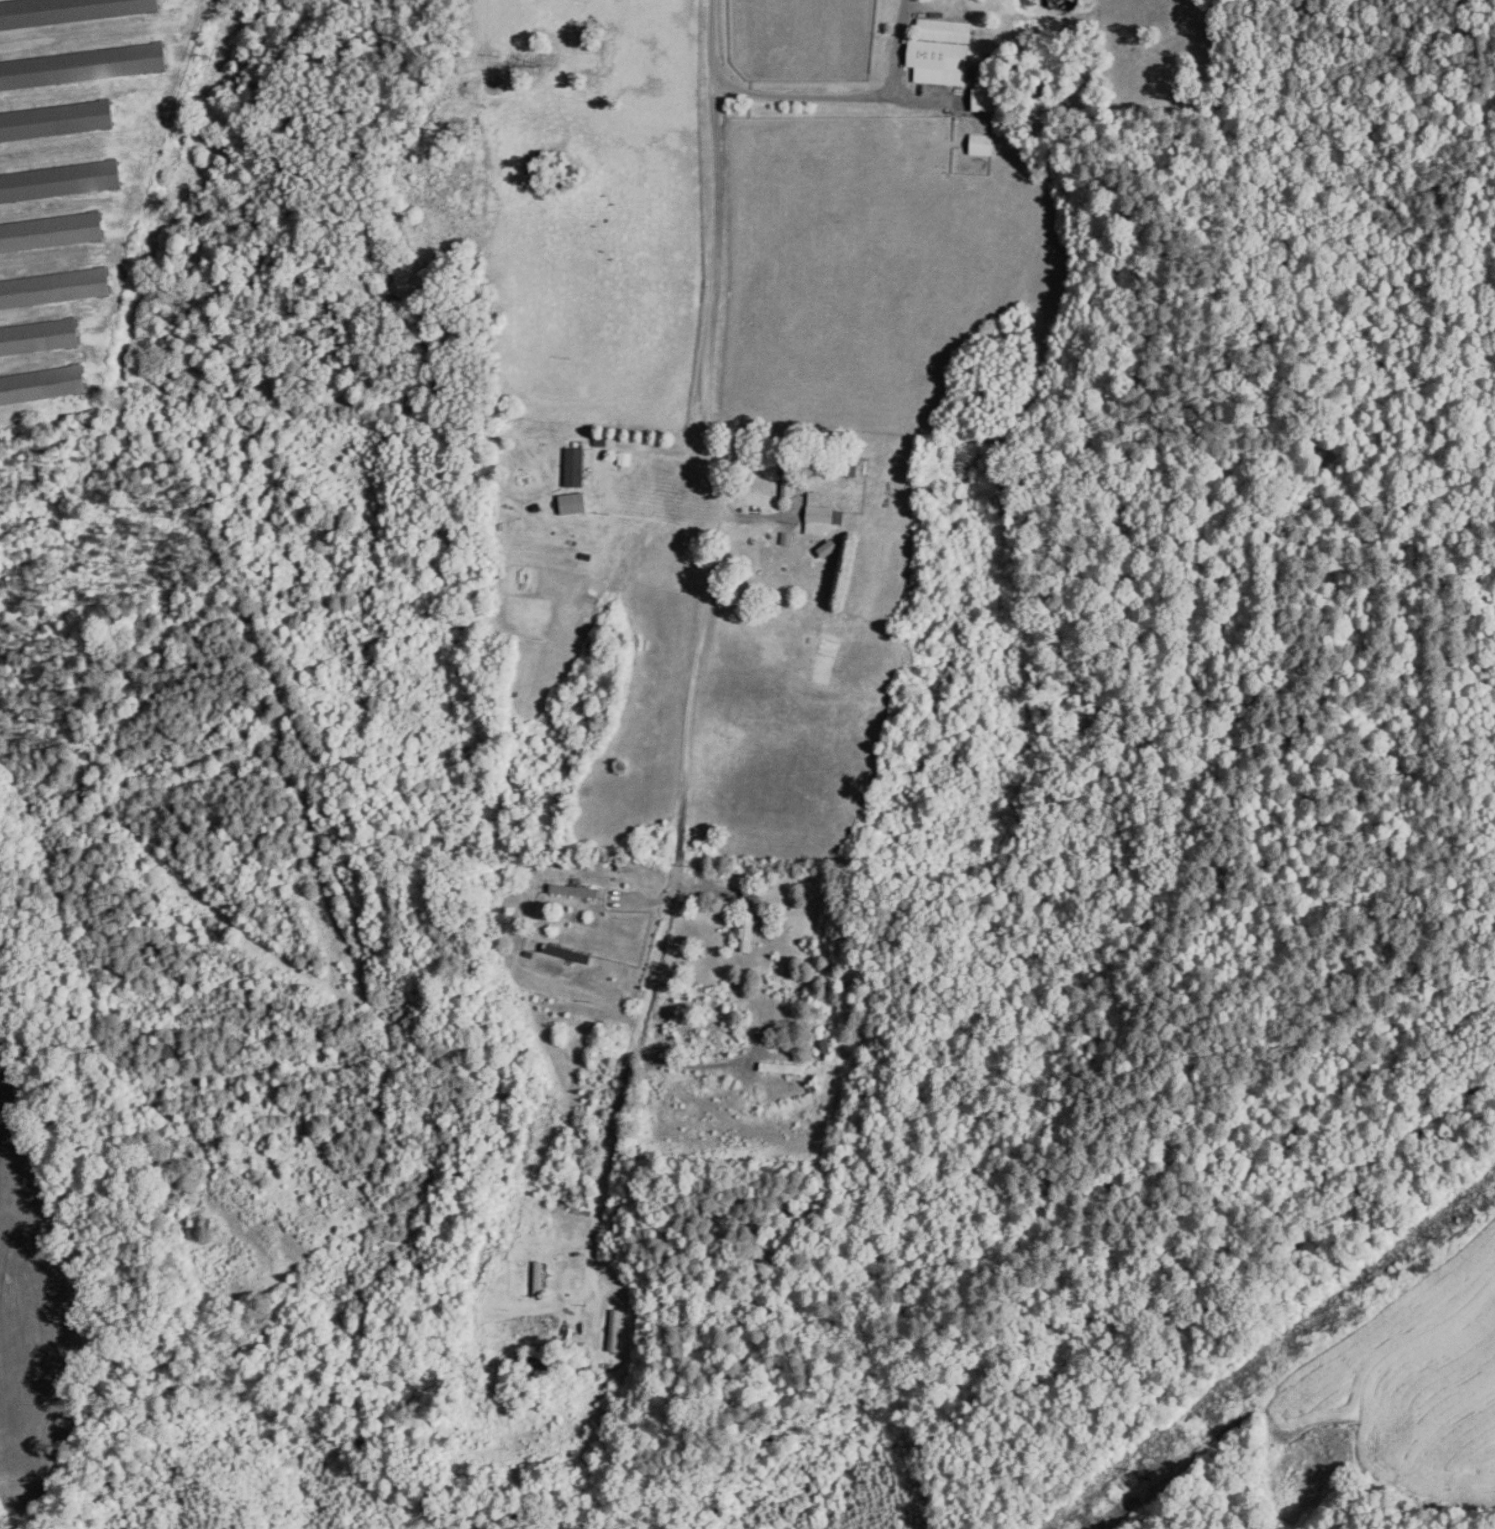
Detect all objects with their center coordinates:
building: (73, 12)
building: (944, 52)
building: (85, 67)
road: (847, 95)
building: (985, 100)
building: (58, 122)
building: (984, 145)
building: (63, 183)
road: (672, 444)
building: (850, 467)
building: (577, 468)
building: (793, 471)
building: (824, 517)
building: (589, 521)
road: (706, 620)
building: (751, 929)
building: (562, 951)
building: (829, 1042)
building: (784, 1068)
building: (576, 1192)
building: (540, 1279)
building: (616, 1330)
building: (537, 1373)

